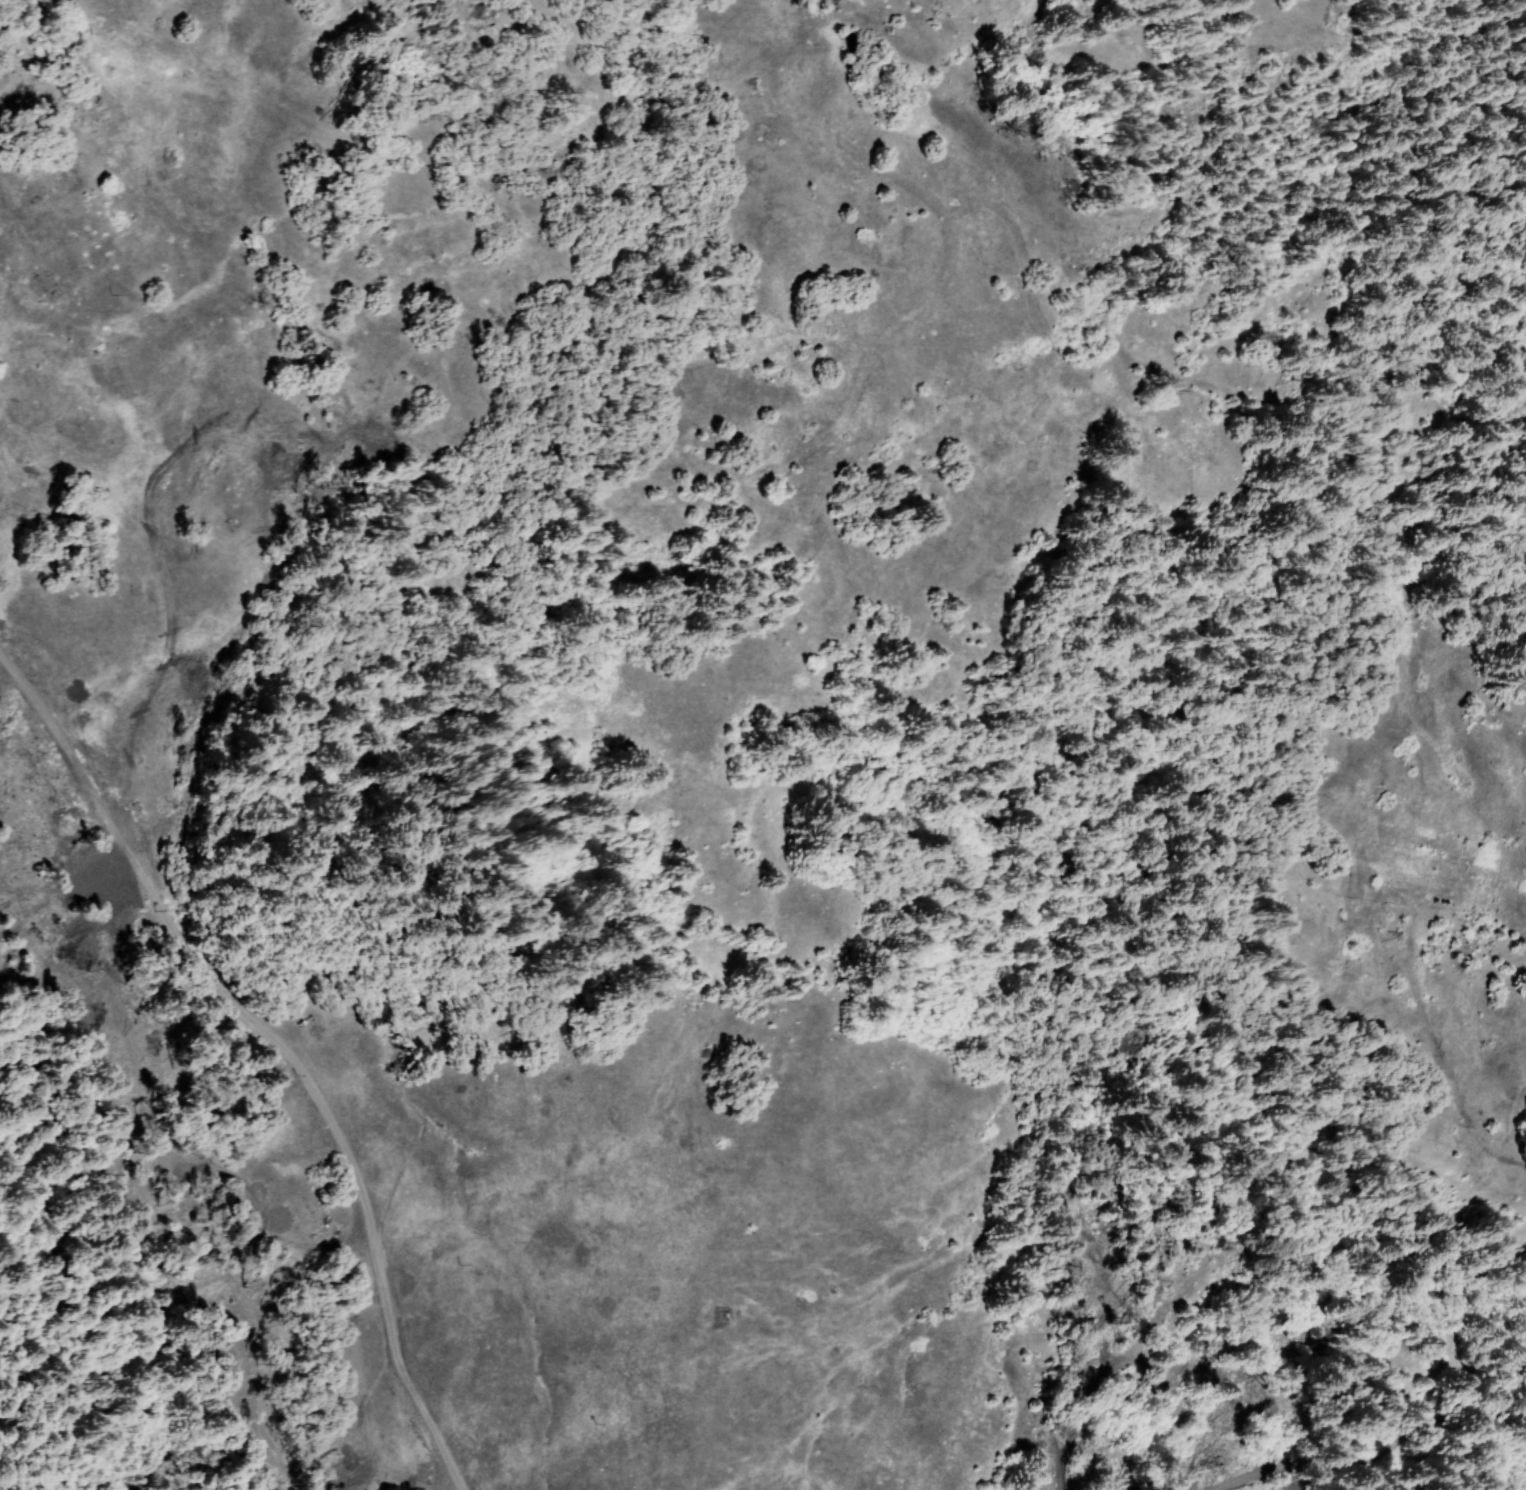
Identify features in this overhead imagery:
road: (291, 1029)
road: (1440, 1464)

